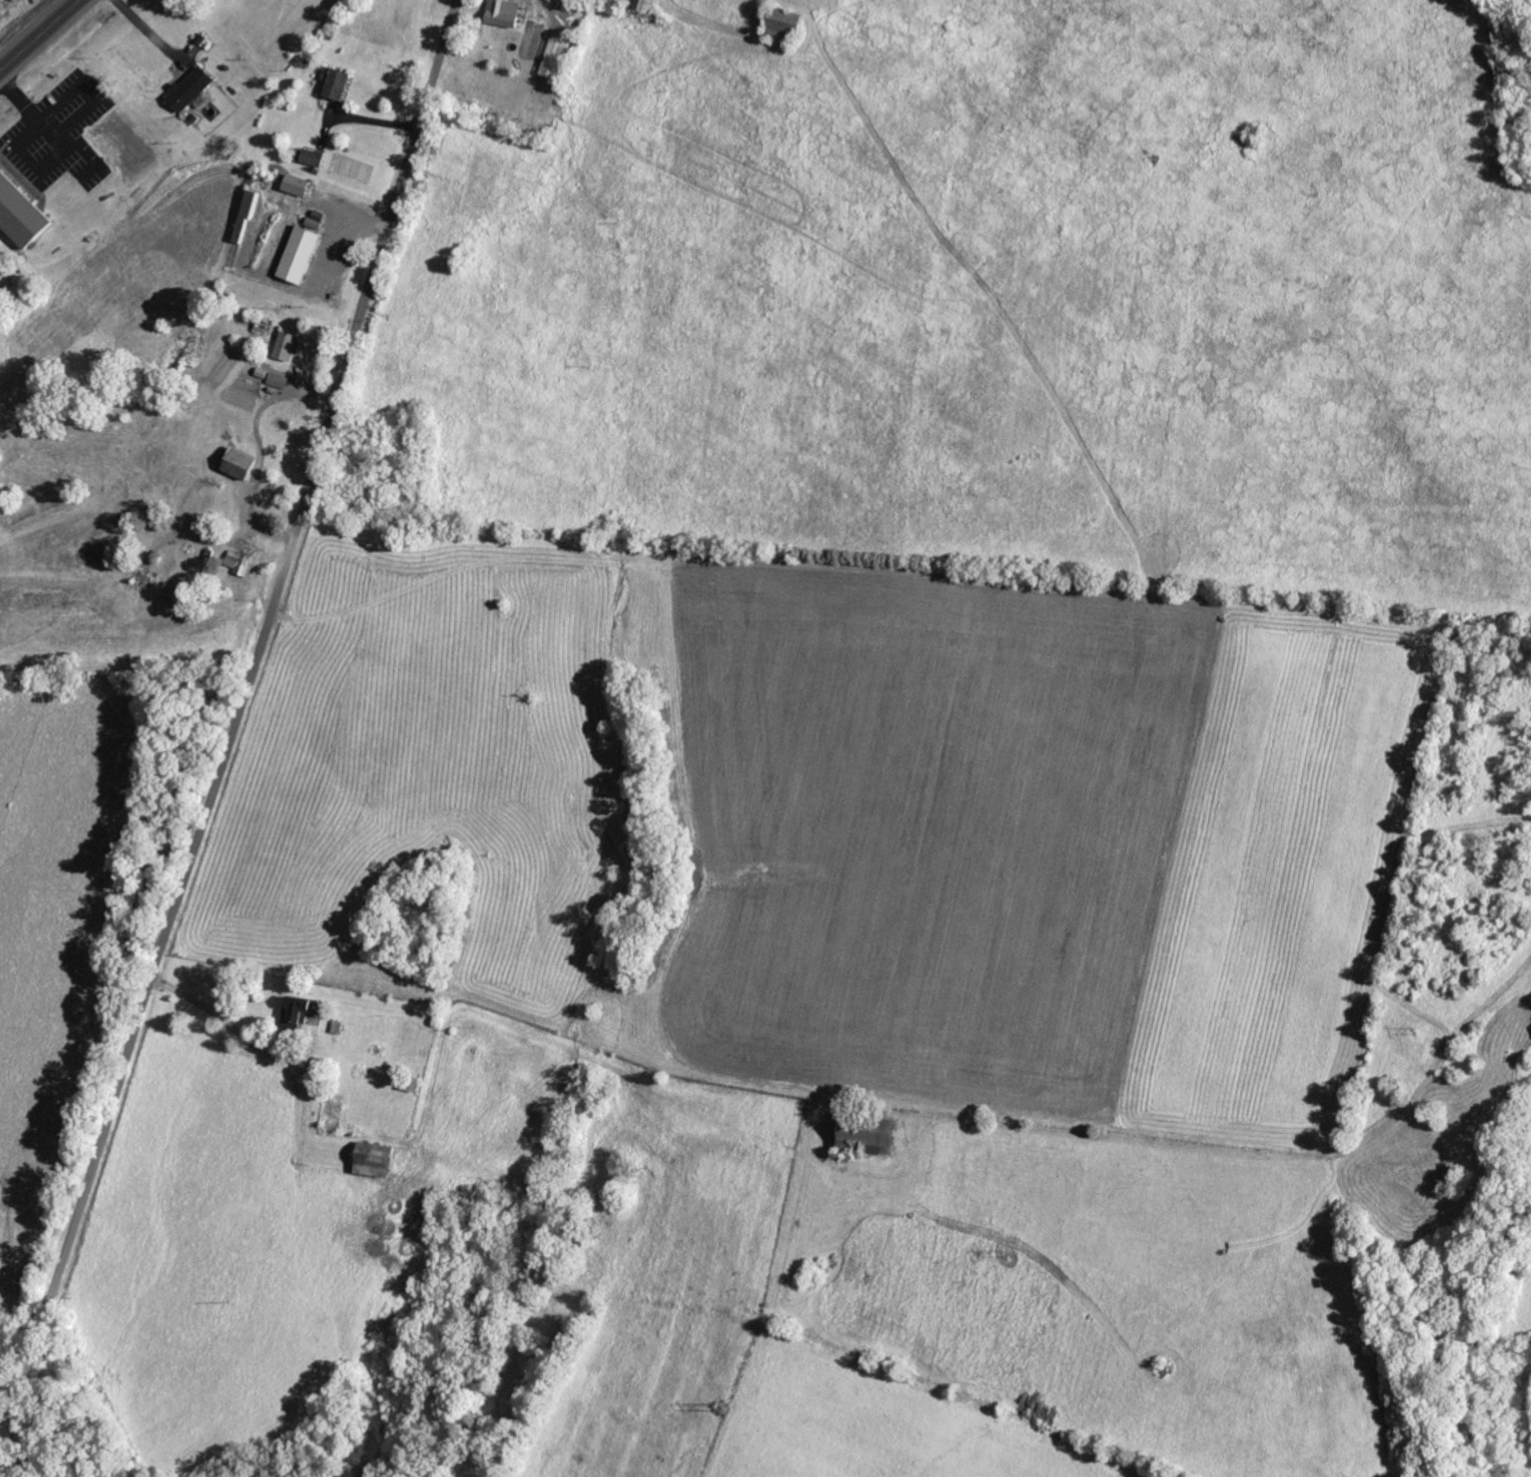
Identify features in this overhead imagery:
building: (564, 3)
building: (648, 4)
building: (507, 12)
building: (790, 24)
road: (37, 33)
building: (338, 81)
building: (191, 87)
building: (313, 156)
building: (300, 184)
building: (22, 210)
building: (250, 212)
building: (302, 253)
building: (288, 344)
building: (279, 379)
building: (244, 464)
building: (240, 561)
road: (228, 737)
building: (303, 1008)
building: (873, 1141)
building: (379, 1162)

